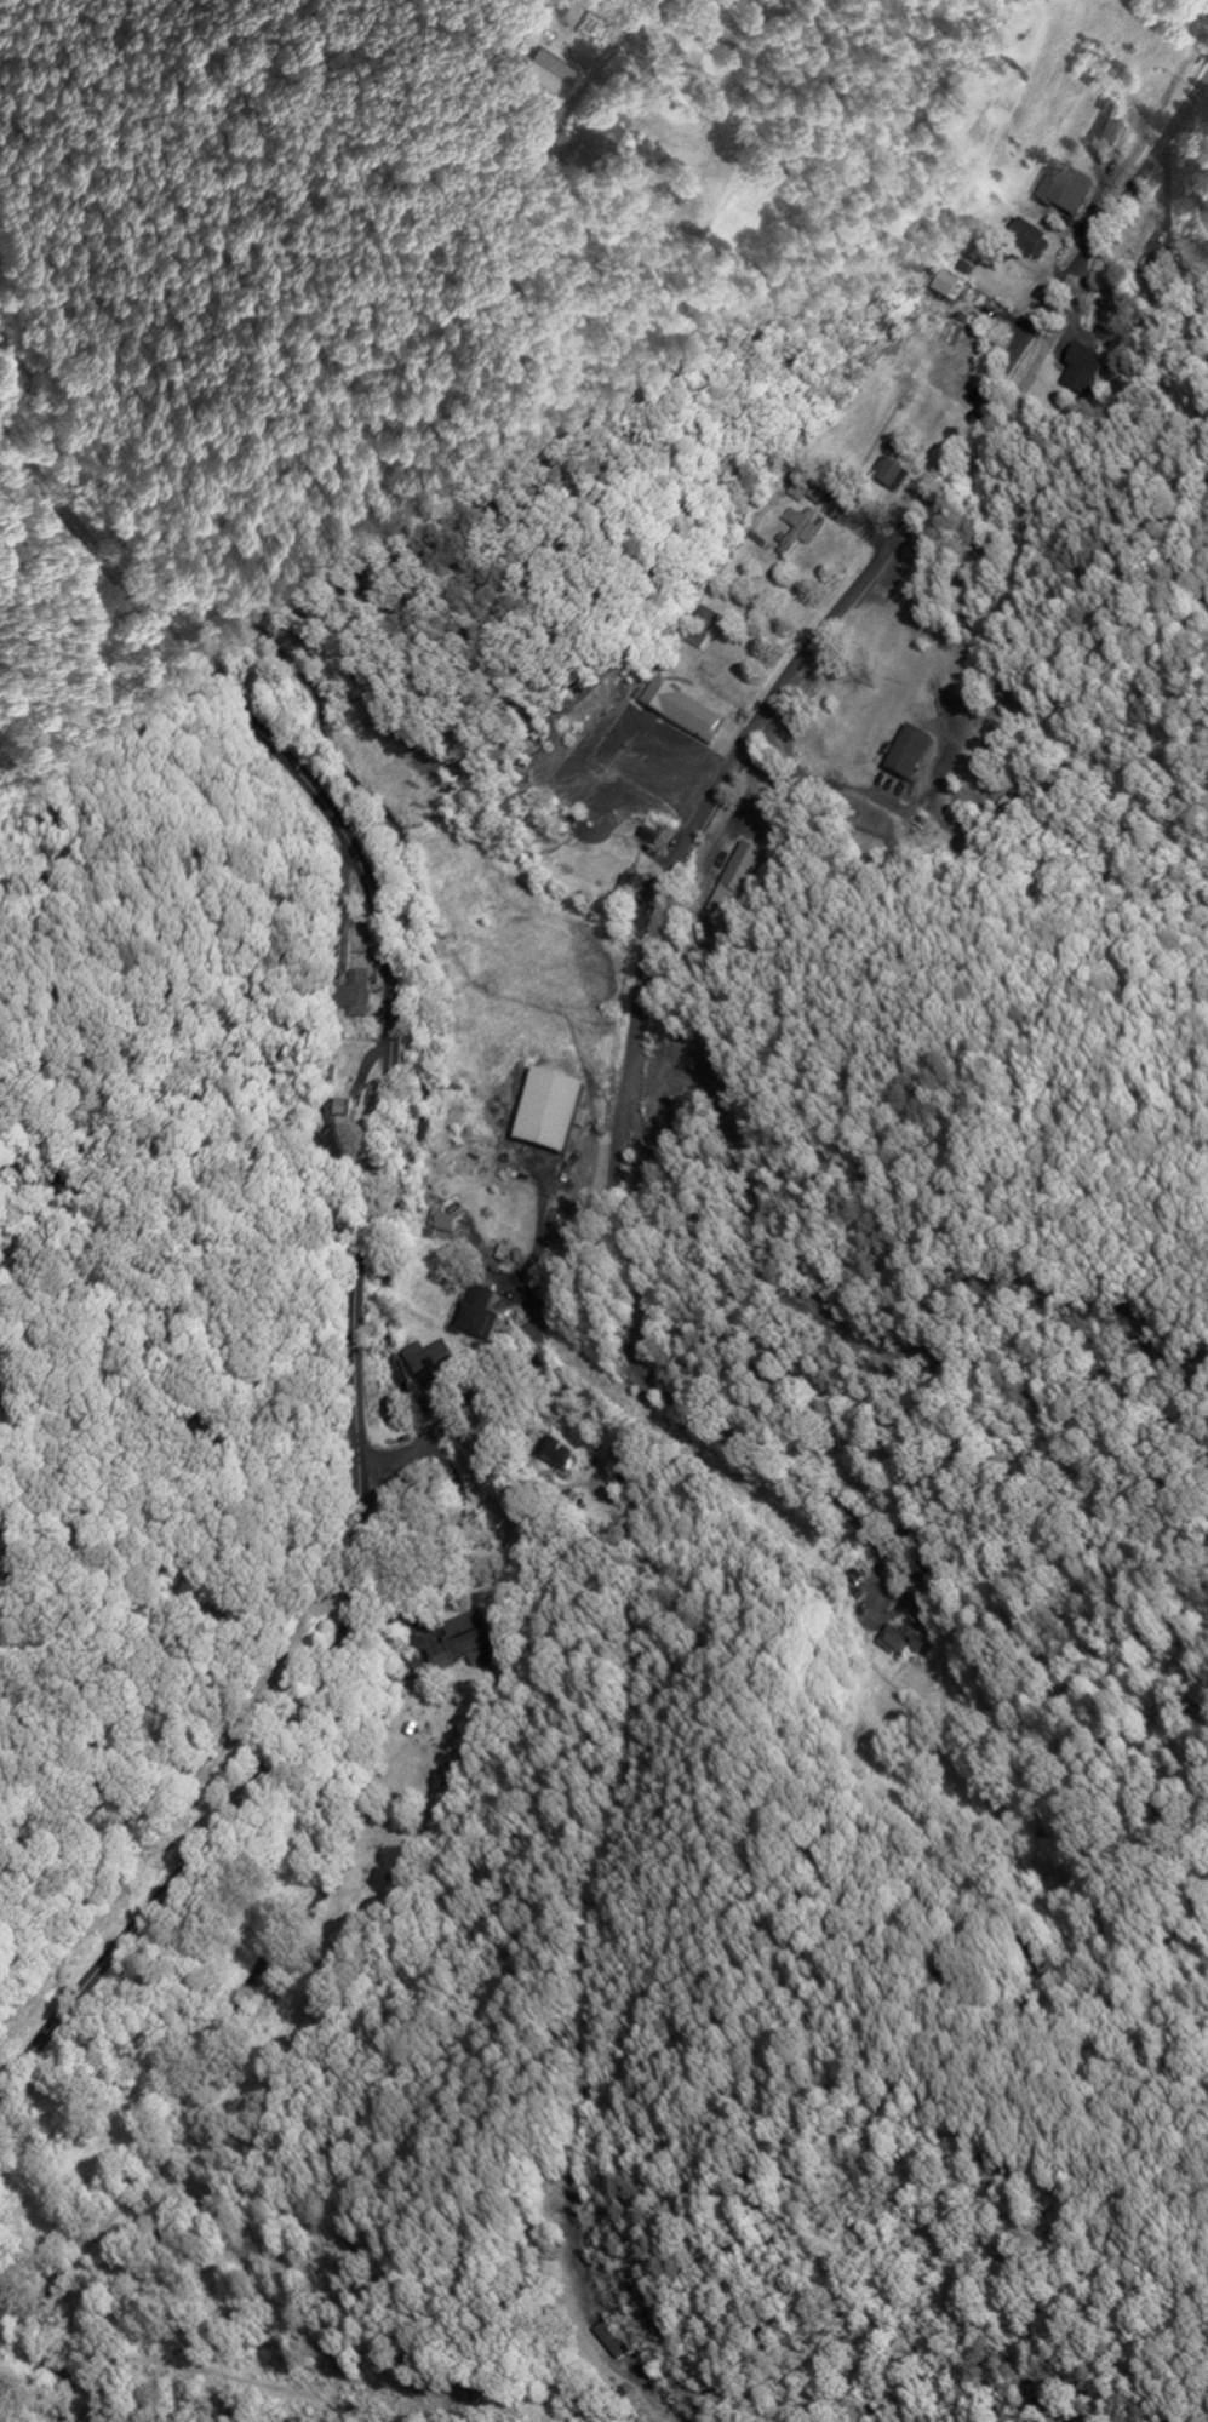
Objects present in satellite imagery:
road: (617, 41)
road: (788, 754)
road: (727, 766)
road: (359, 1255)
road: (675, 1402)
road: (384, 1495)
road: (612, 1854)

